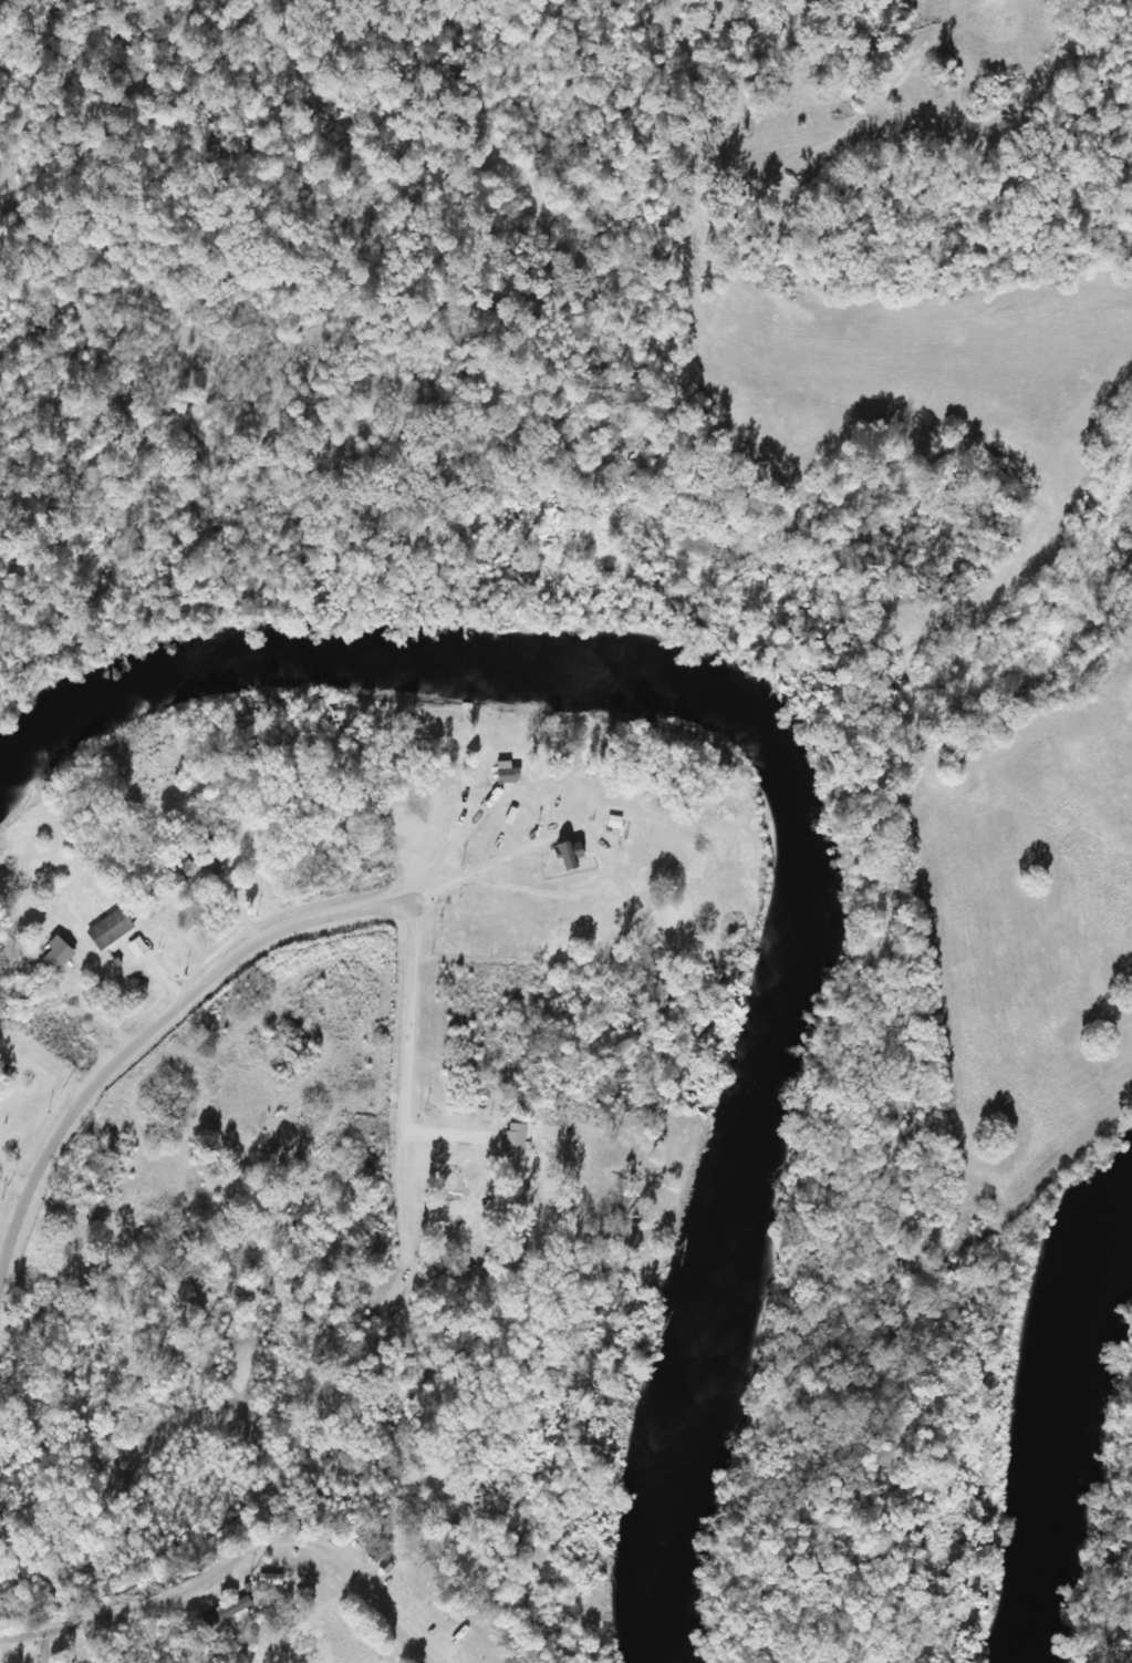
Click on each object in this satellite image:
building: (201, 865)
building: (110, 929)
building: (58, 953)
road: (267, 959)
building: (515, 1095)
building: (464, 1287)
road: (245, 1571)

